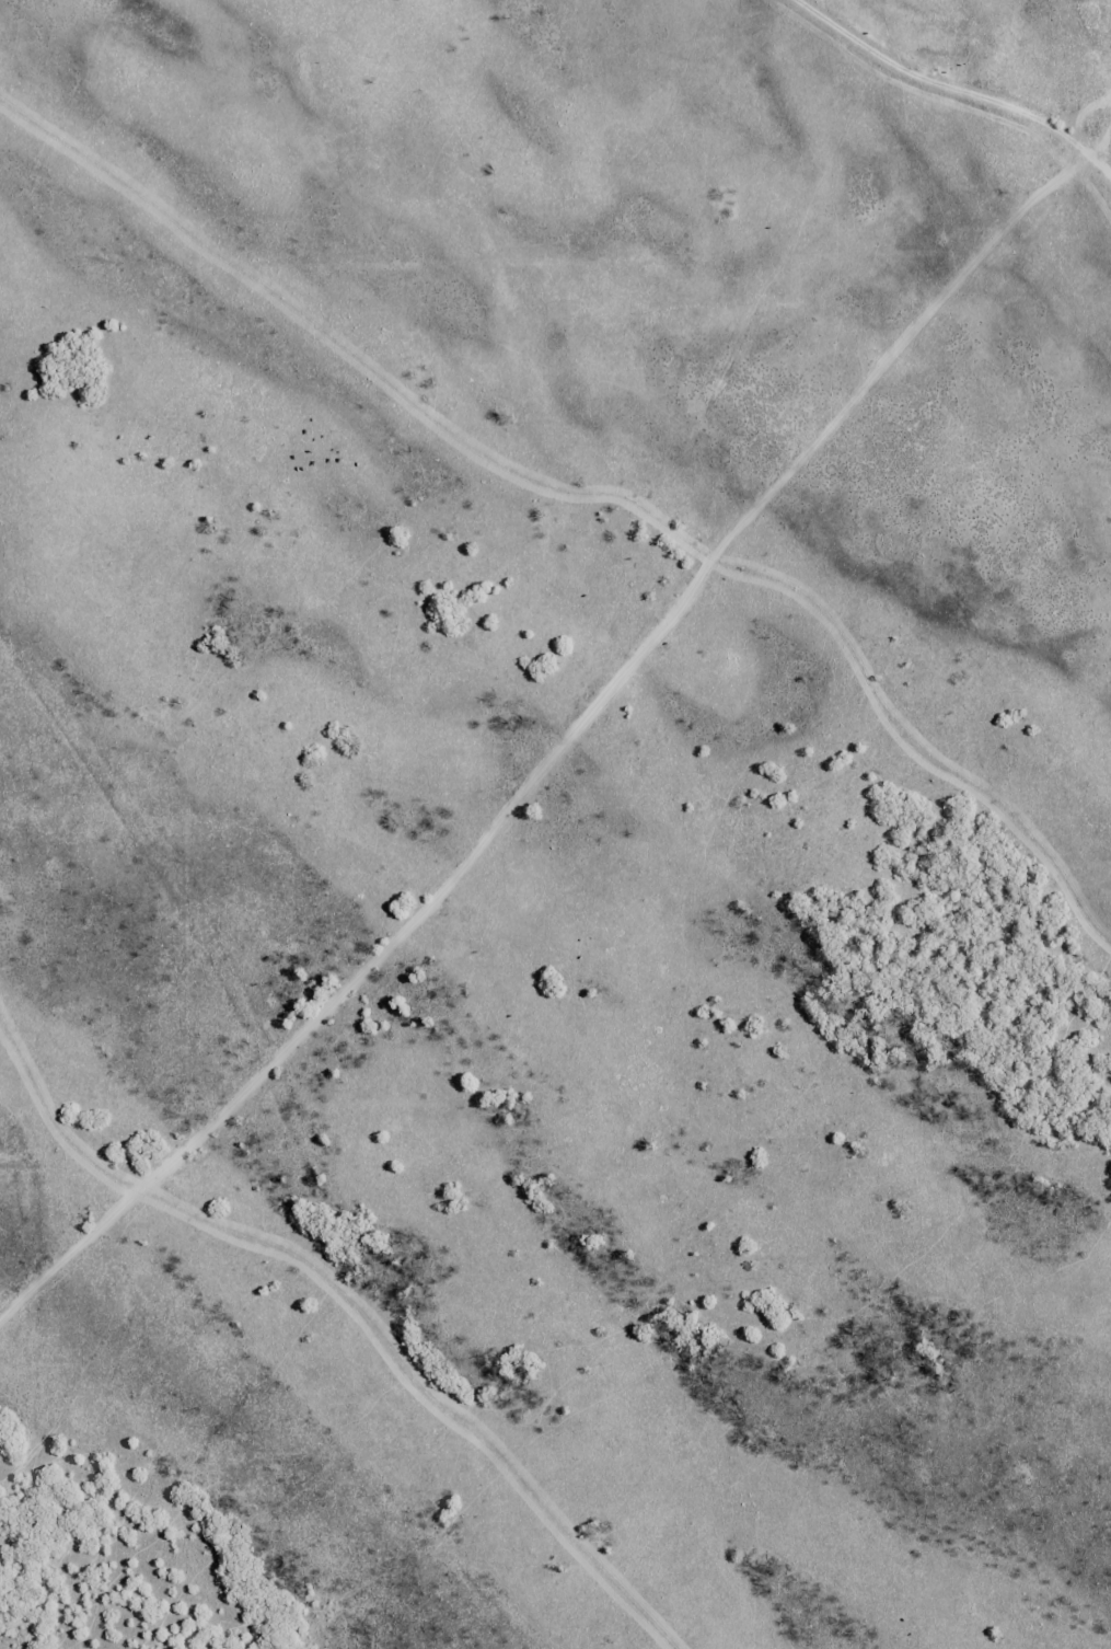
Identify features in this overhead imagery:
road: (956, 112)

